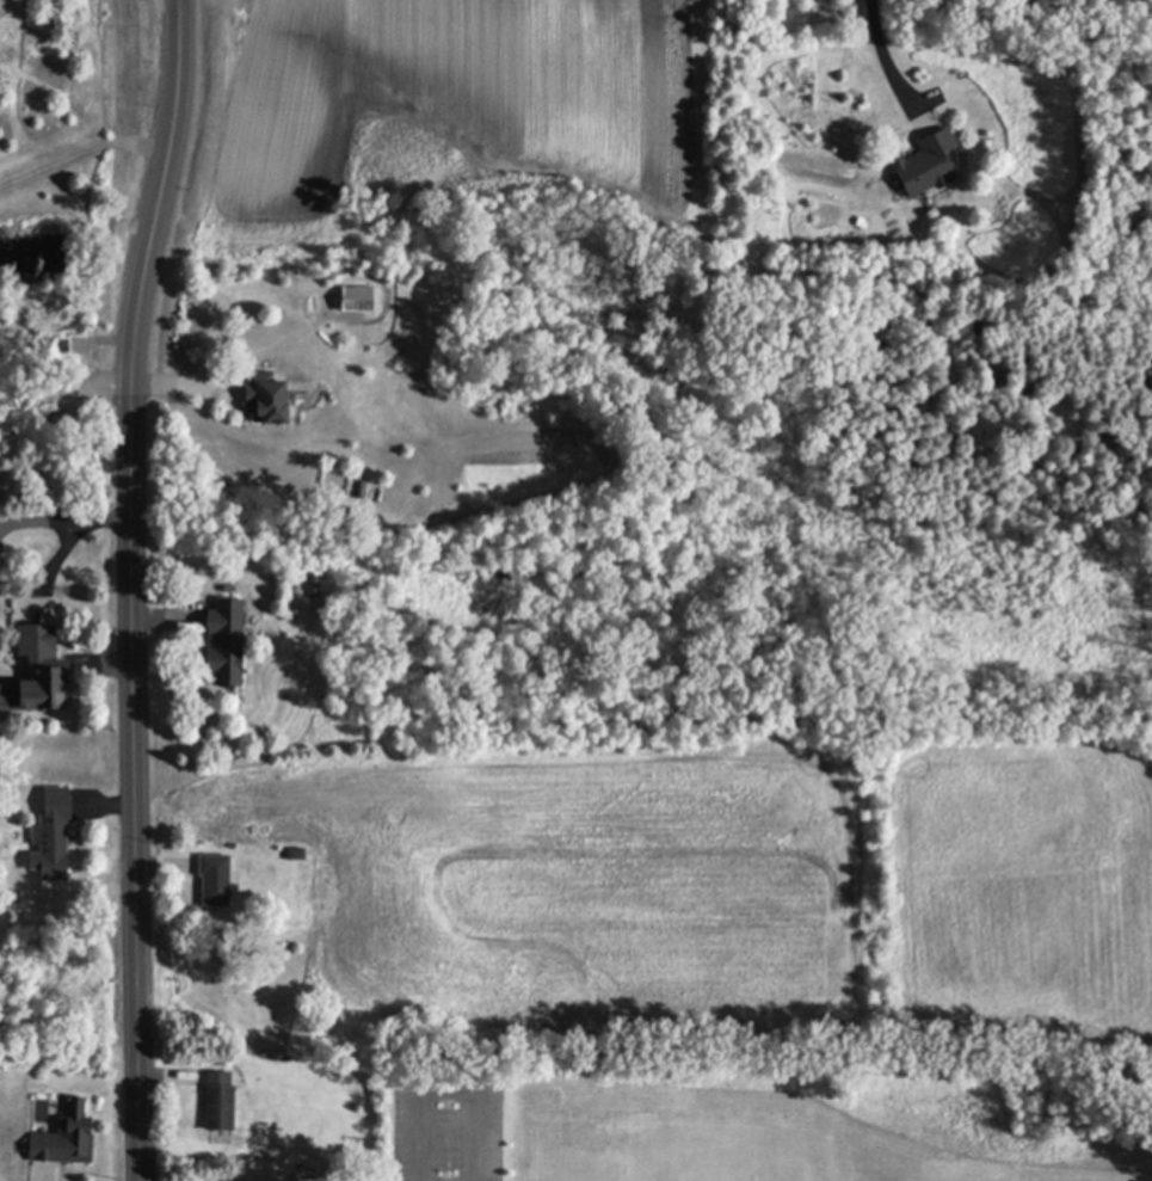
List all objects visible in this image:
road: (885, 53)
crop: (449, 141)
road: (82, 152)
building: (926, 166)
building: (62, 347)
building: (267, 399)
building: (51, 406)
road: (128, 588)
building: (314, 588)
building: (35, 640)
building: (227, 642)
building: (47, 687)
building: (55, 835)
building: (297, 855)
building: (217, 881)
crop: (714, 894)
road: (451, 1089)
building: (221, 1103)
park: (751, 1117)
parking lot: (446, 1127)
building: (67, 1139)

